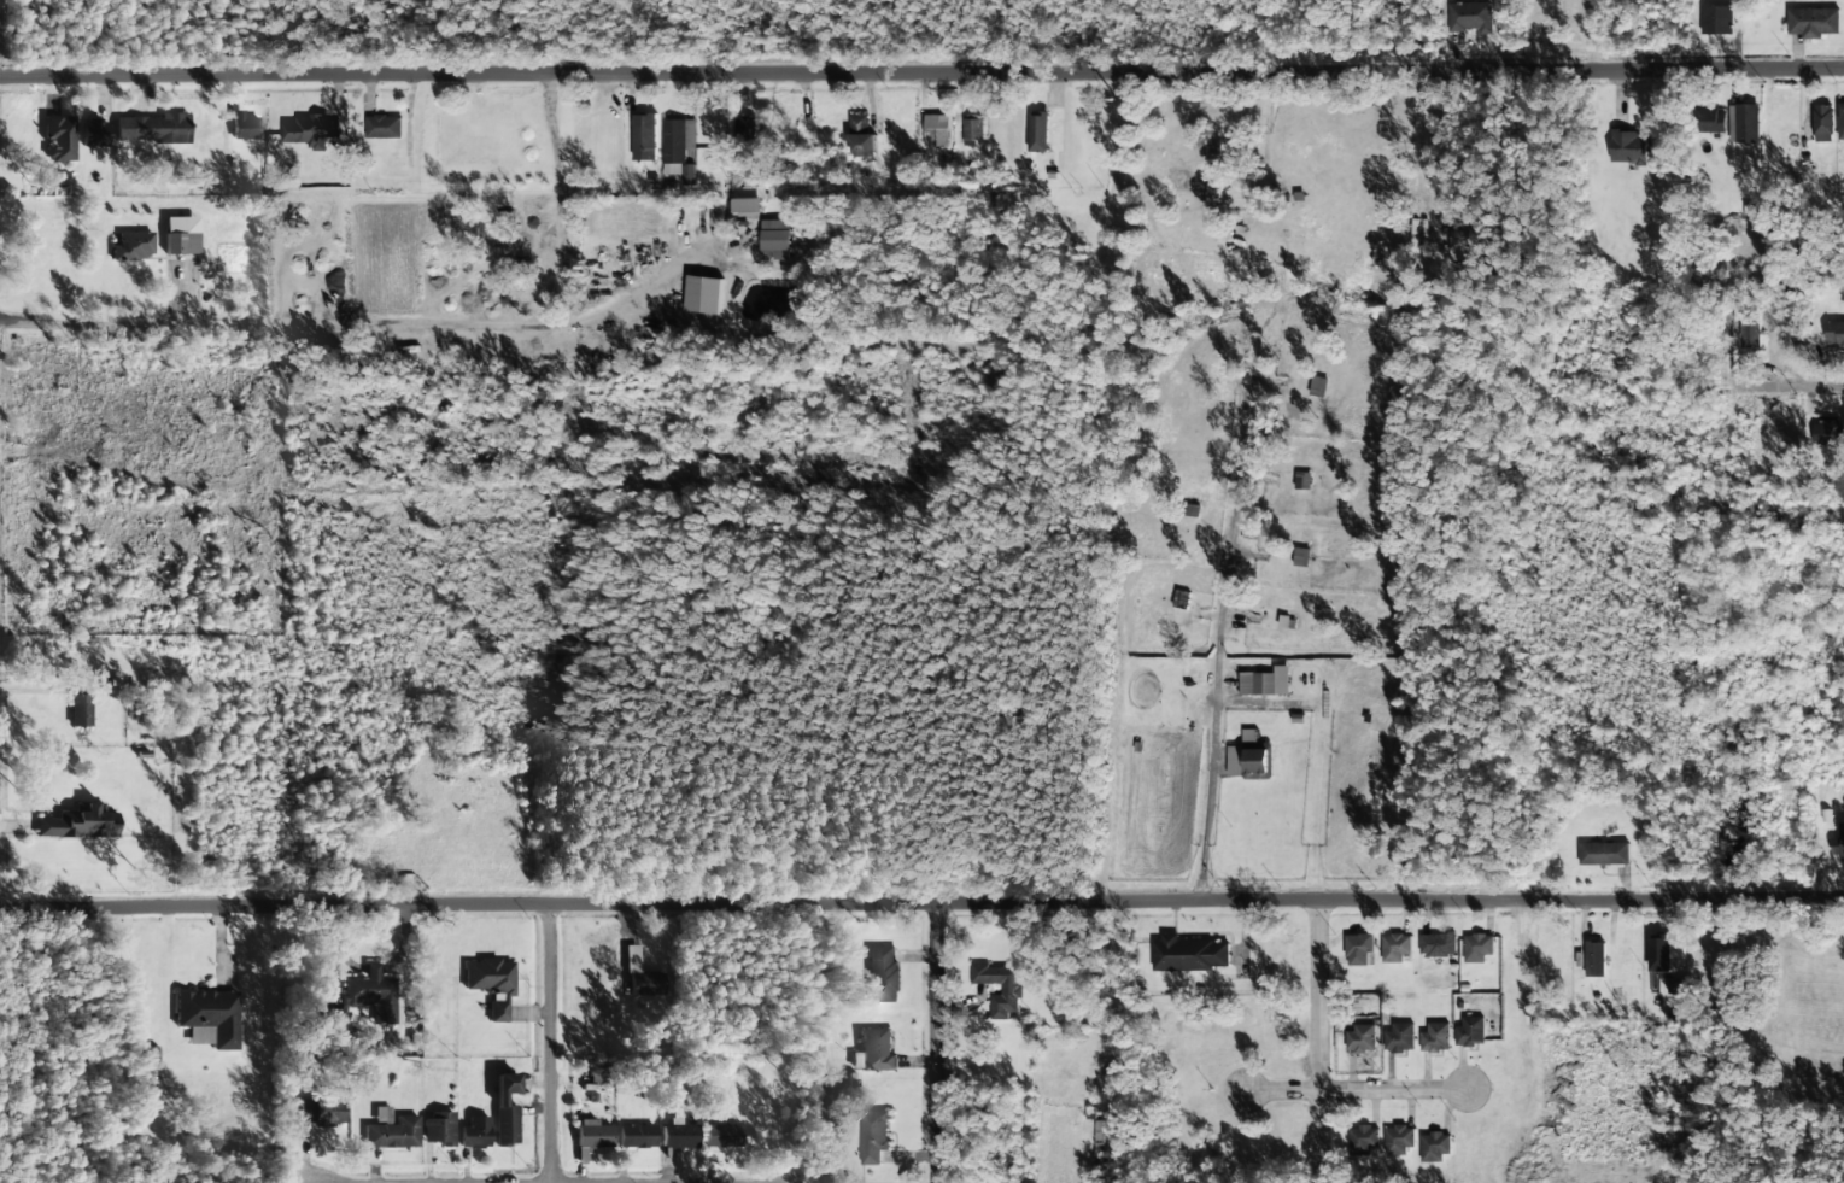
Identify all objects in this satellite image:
building: (1468, 17)
building: (1716, 21)
building: (1813, 22)
road: (921, 75)
building: (1713, 119)
building: (1840, 122)
building: (1744, 123)
building: (1822, 123)
building: (244, 127)
building: (384, 127)
building: (152, 128)
building: (973, 129)
building: (937, 130)
building: (311, 131)
building: (94, 133)
building: (1037, 133)
building: (861, 136)
building: (644, 137)
building: (59, 139)
building: (677, 144)
building: (1628, 148)
building: (747, 206)
building: (1213, 209)
building: (181, 235)
building: (775, 240)
building: (133, 246)
building: (1456, 246)
building: (704, 294)
building: (1750, 332)
building: (1834, 333)
building: (1317, 387)
road: (1785, 388)
building: (1828, 433)
building: (1300, 557)
building: (1164, 623)
building: (1257, 684)
building: (81, 710)
building: (1254, 757)
building: (1234, 761)
building: (76, 825)
building: (1838, 843)
building: (1603, 854)
road: (921, 906)
building: (1438, 945)
building: (1394, 947)
building: (1477, 948)
building: (1358, 949)
building: (1659, 951)
building: (1189, 954)
building: (1594, 960)
building: (642, 974)
building: (884, 974)
building: (491, 984)
building: (1675, 986)
building: (1011, 989)
building: (373, 995)
building: (209, 1018)
building: (328, 1021)
building: (1470, 1031)
road: (1316, 1037)
building: (1399, 1038)
building: (1435, 1038)
building: (1360, 1039)
road: (935, 1044)
road: (552, 1046)
building: (877, 1050)
road: (1351, 1089)
building: (505, 1109)
building: (322, 1111)
building: (438, 1128)
building: (391, 1130)
building: (475, 1132)
building: (679, 1134)
building: (637, 1136)
building: (721, 1136)
building: (873, 1136)
building: (592, 1137)
building: (1364, 1140)
building: (1398, 1141)
building: (1435, 1146)

